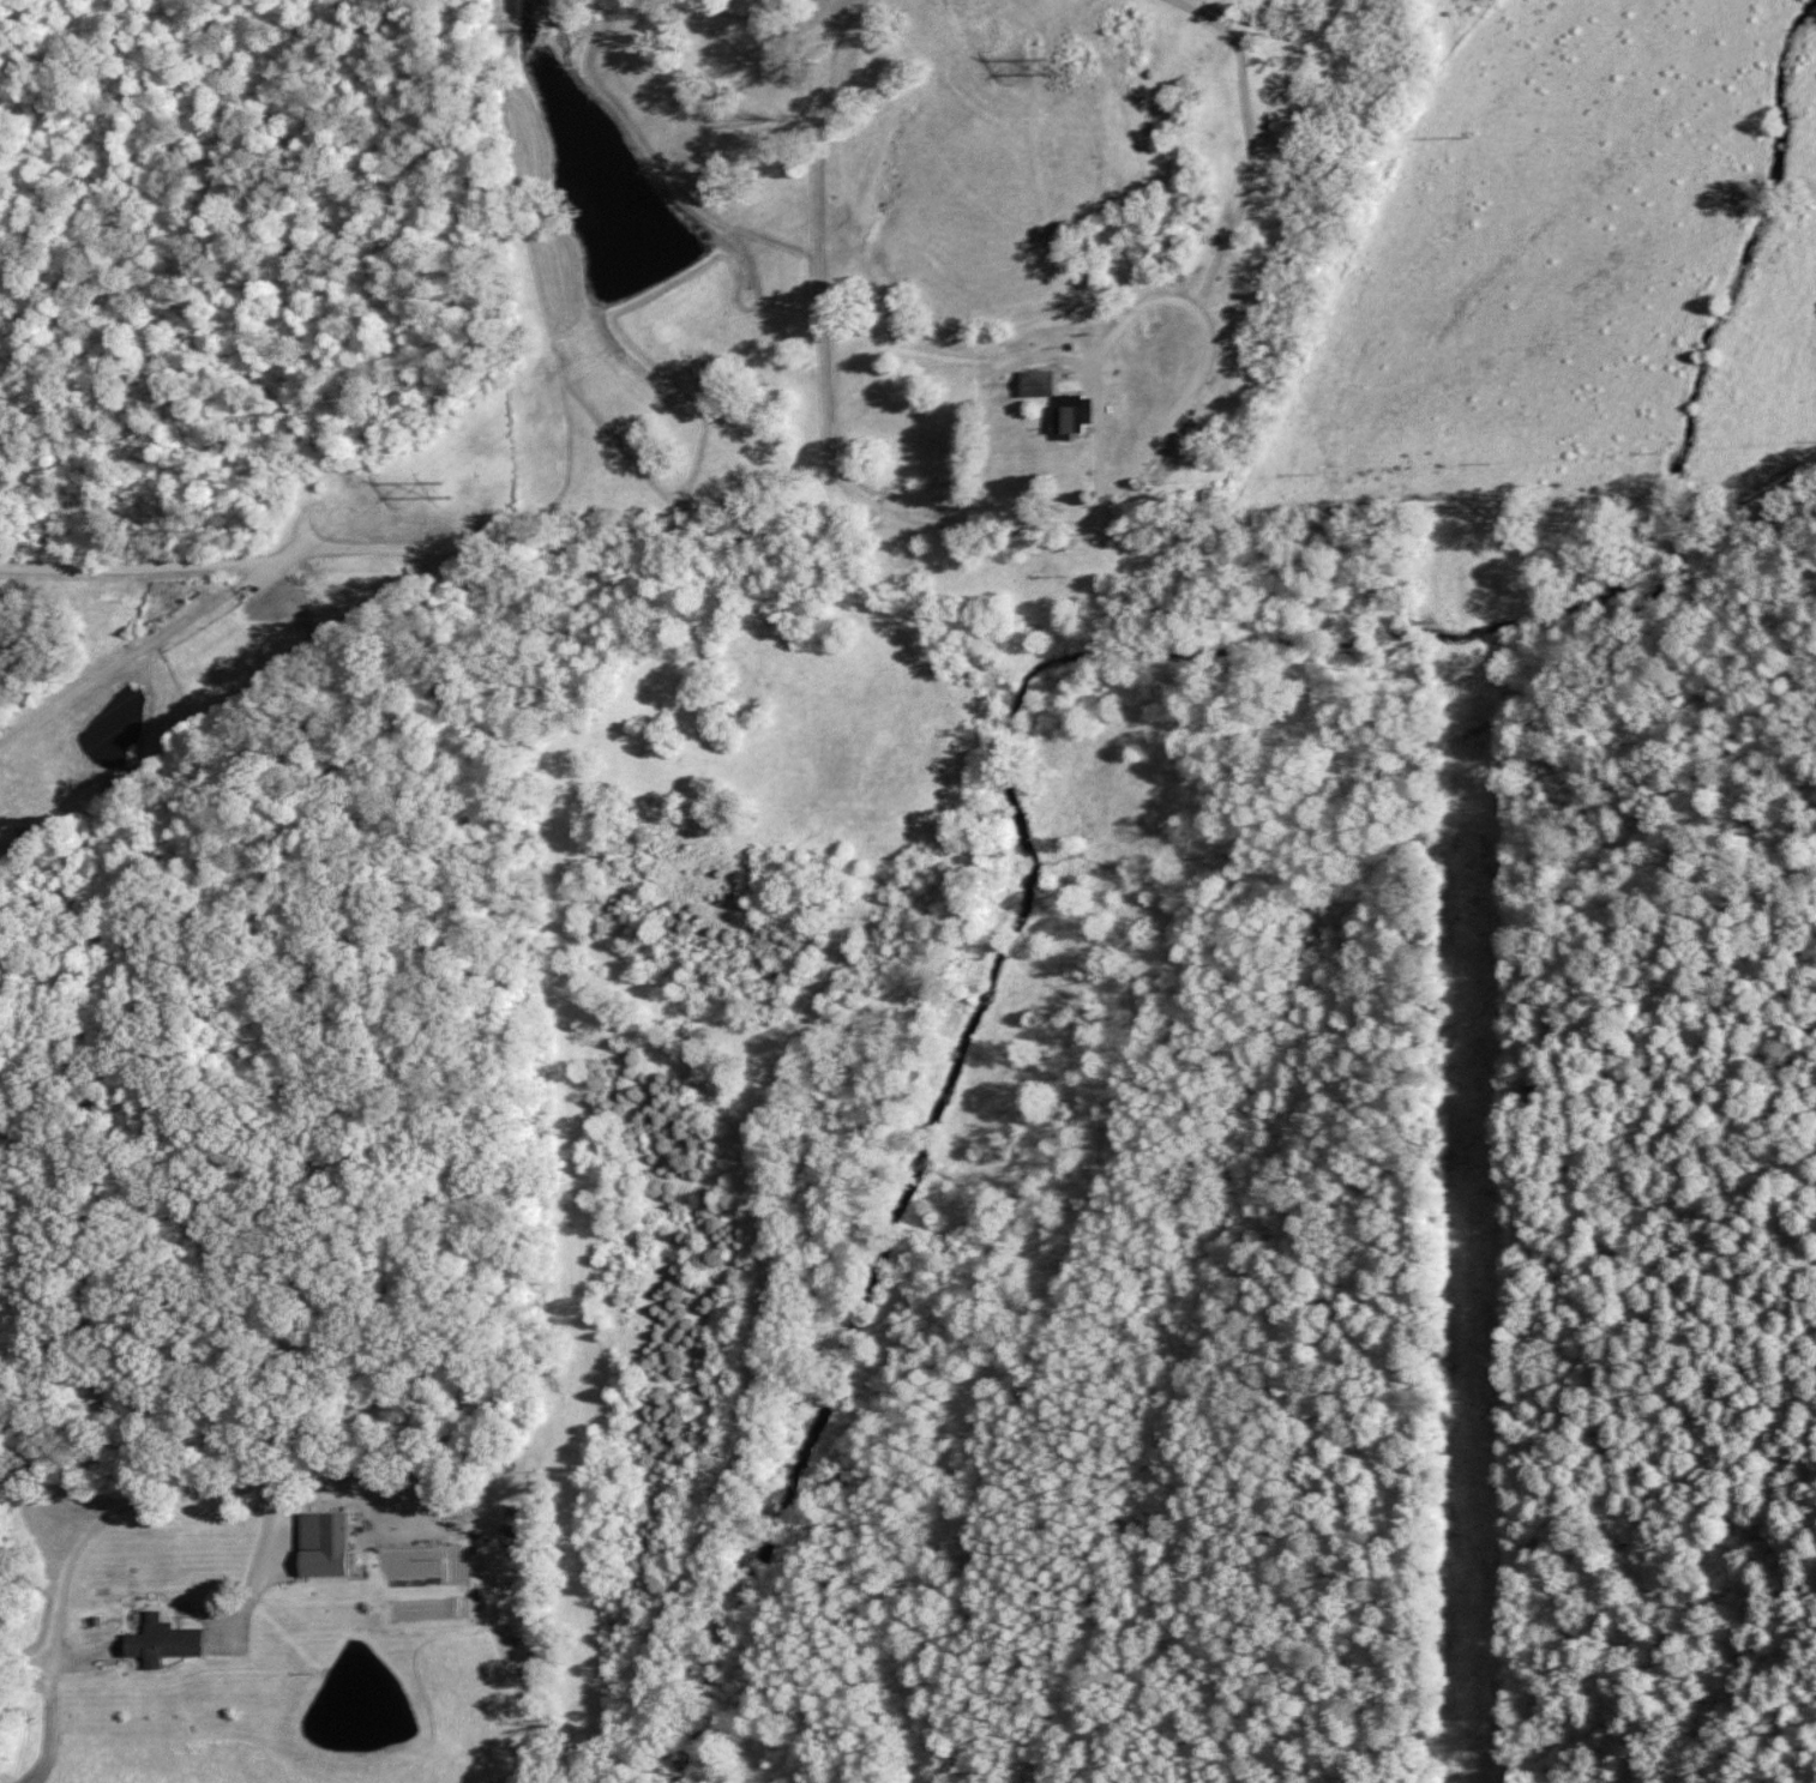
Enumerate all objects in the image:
power tower: (1056, 64)
road: (890, 307)
building: (1054, 399)
power tower: (440, 487)
road: (916, 535)
road: (299, 1165)
building: (319, 1543)
building: (160, 1642)

